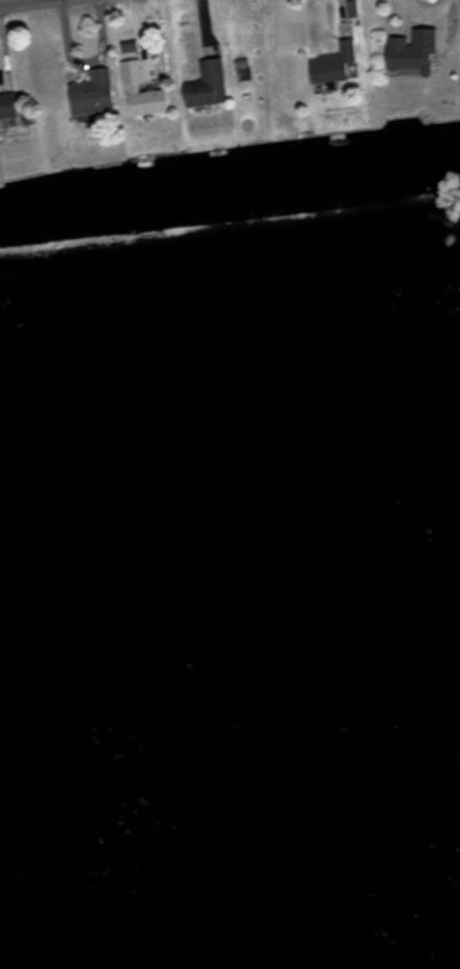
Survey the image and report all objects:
road: (2, 0)
building: (416, 49)
building: (335, 61)
building: (209, 81)
building: (145, 90)
building: (96, 94)
building: (10, 102)

